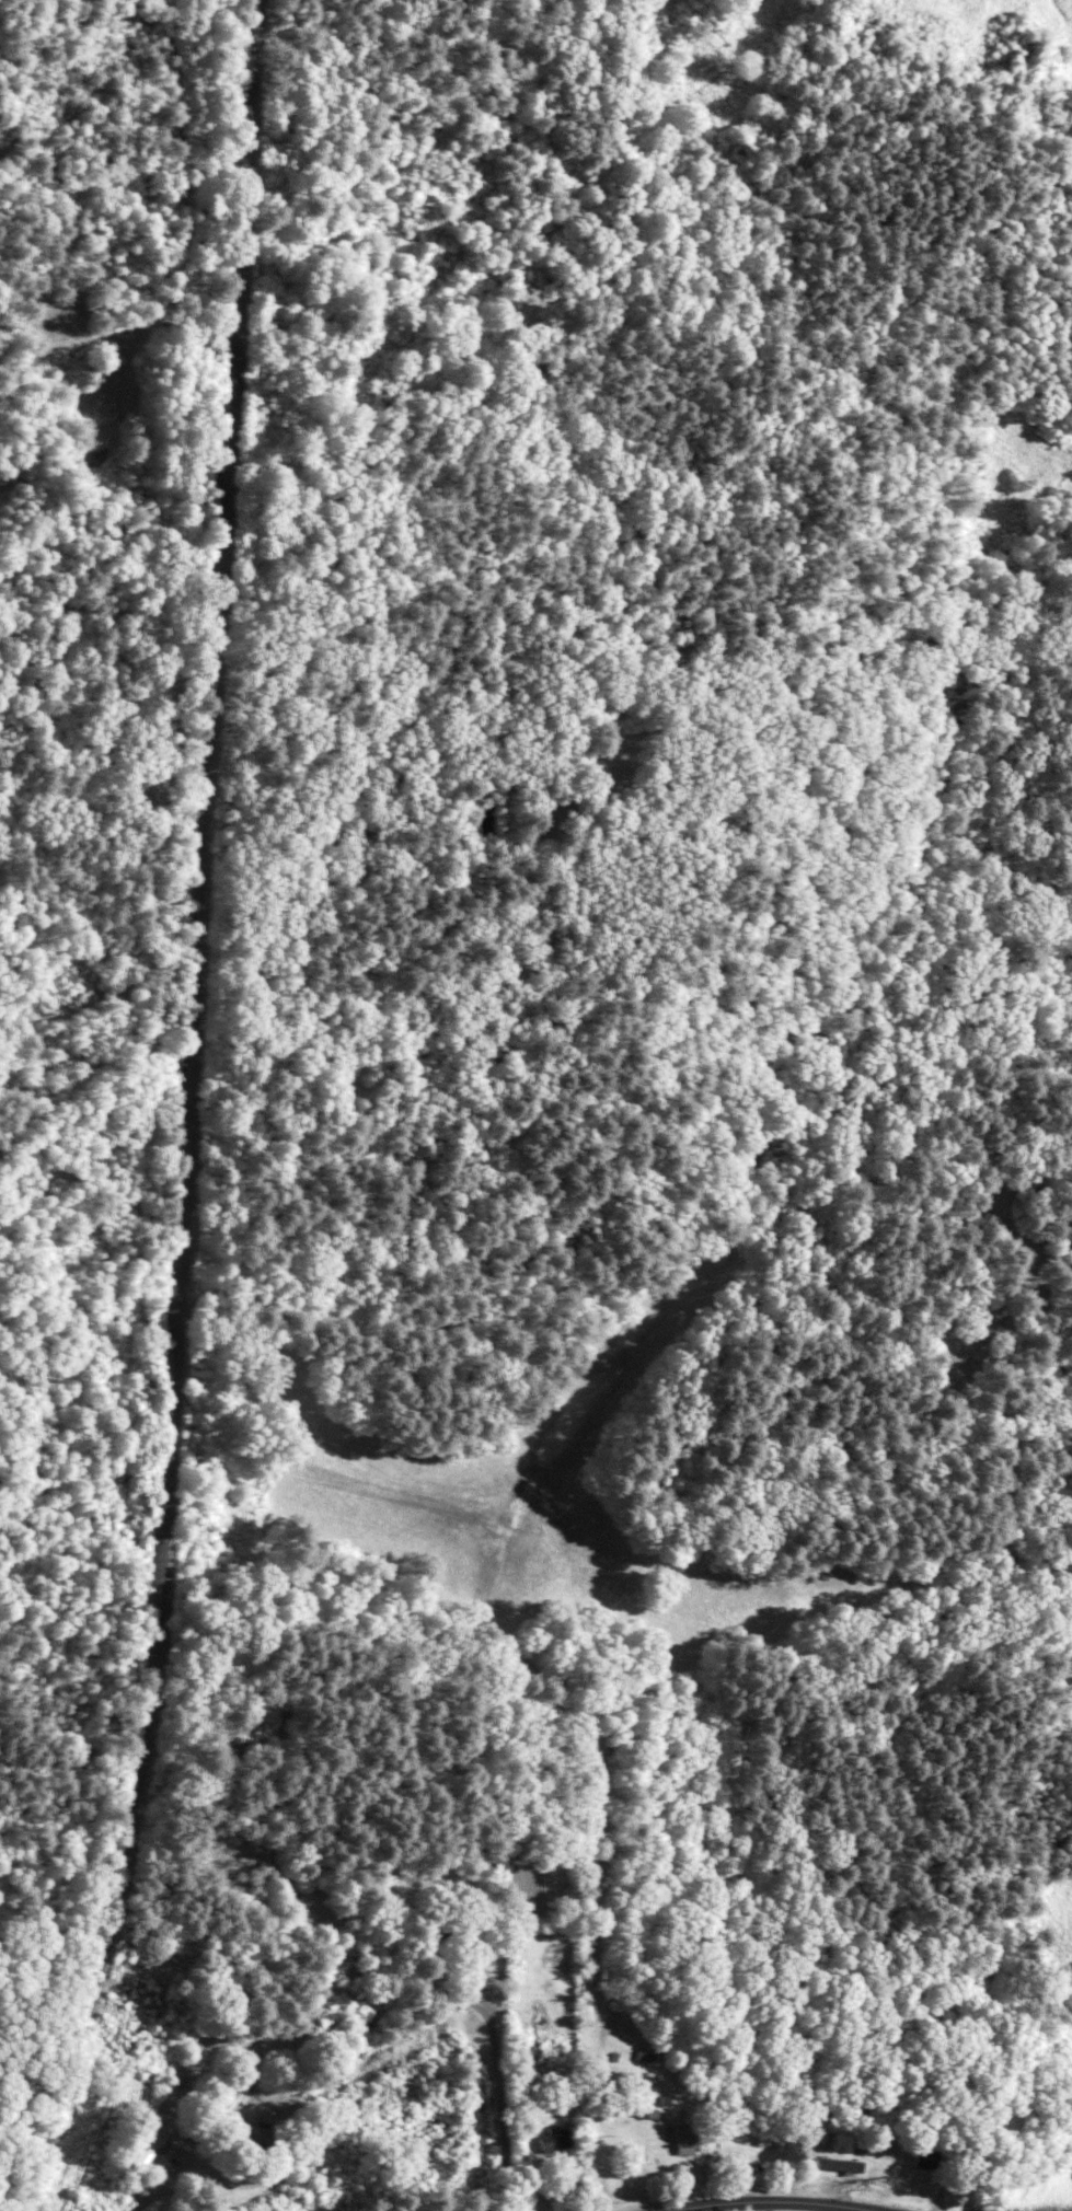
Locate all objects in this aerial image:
railway: (184, 1111)
building: (460, 1938)
road: (499, 2094)
building: (680, 2140)
building: (550, 2141)
building: (150, 2153)
building: (915, 2160)
building: (830, 2165)
road: (774, 2201)

